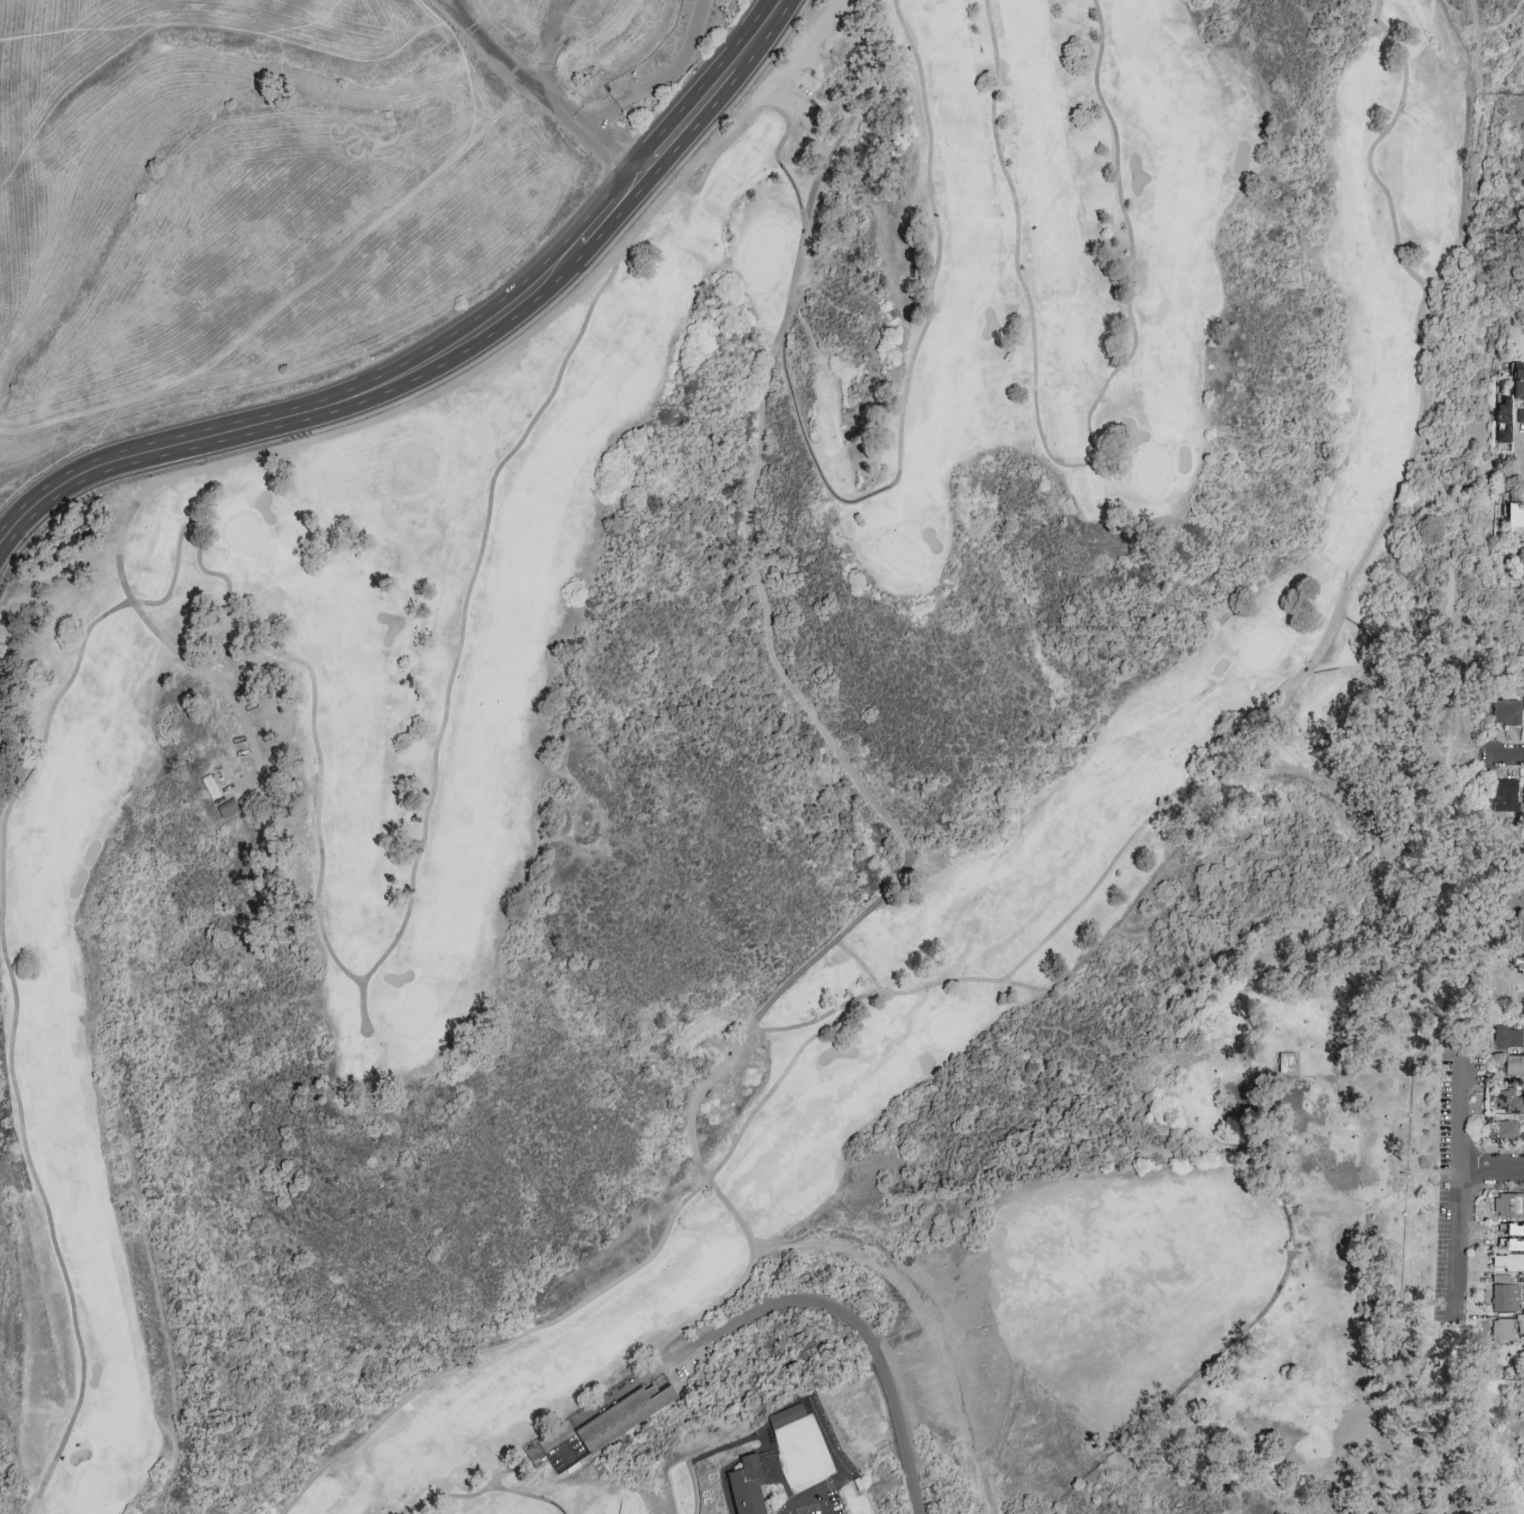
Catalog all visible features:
road: (446, 2)
road: (451, 9)
road: (431, 13)
road: (1472, 17)
road: (1502, 27)
road: (289, 28)
road: (543, 42)
road: (293, 44)
road: (661, 81)
road: (65, 91)
road: (547, 103)
road: (481, 113)
road: (784, 171)
road: (860, 201)
road: (288, 302)
road: (787, 314)
road: (445, 357)
building: (1519, 384)
building: (1503, 419)
road: (4, 431)
road: (47, 444)
road: (66, 454)
road: (1076, 466)
building: (1515, 516)
road: (197, 524)
road: (1451, 539)
building: (1521, 559)
road: (121, 575)
road: (1381, 643)
road: (1311, 668)
building: (1522, 704)
building: (1506, 713)
park: (734, 755)
road: (1508, 756)
road: (1470, 758)
building: (1523, 792)
building: (1504, 796)
park: (730, 804)
building: (225, 808)
road: (889, 826)
building: (1512, 900)
road: (1521, 940)
building: (1523, 969)
building: (1509, 1037)
building: (1285, 1063)
building: (1514, 1066)
road: (777, 1083)
building: (1522, 1100)
building: (1508, 1101)
building: (1507, 1132)
road: (1492, 1170)
road: (1459, 1179)
parking lot: (1447, 1181)
building: (1509, 1206)
building: (1513, 1230)
building: (1510, 1236)
building: (1514, 1245)
building: (1508, 1262)
building: (1506, 1298)
road: (842, 1313)
building: (1521, 1320)
building: (1503, 1331)
road: (484, 1352)
road: (936, 1363)
road: (1439, 1405)
building: (619, 1414)
building: (787, 1416)
road: (64, 1441)
road: (690, 1464)
building: (747, 1485)
road: (815, 1498)
parking lot: (820, 1502)

